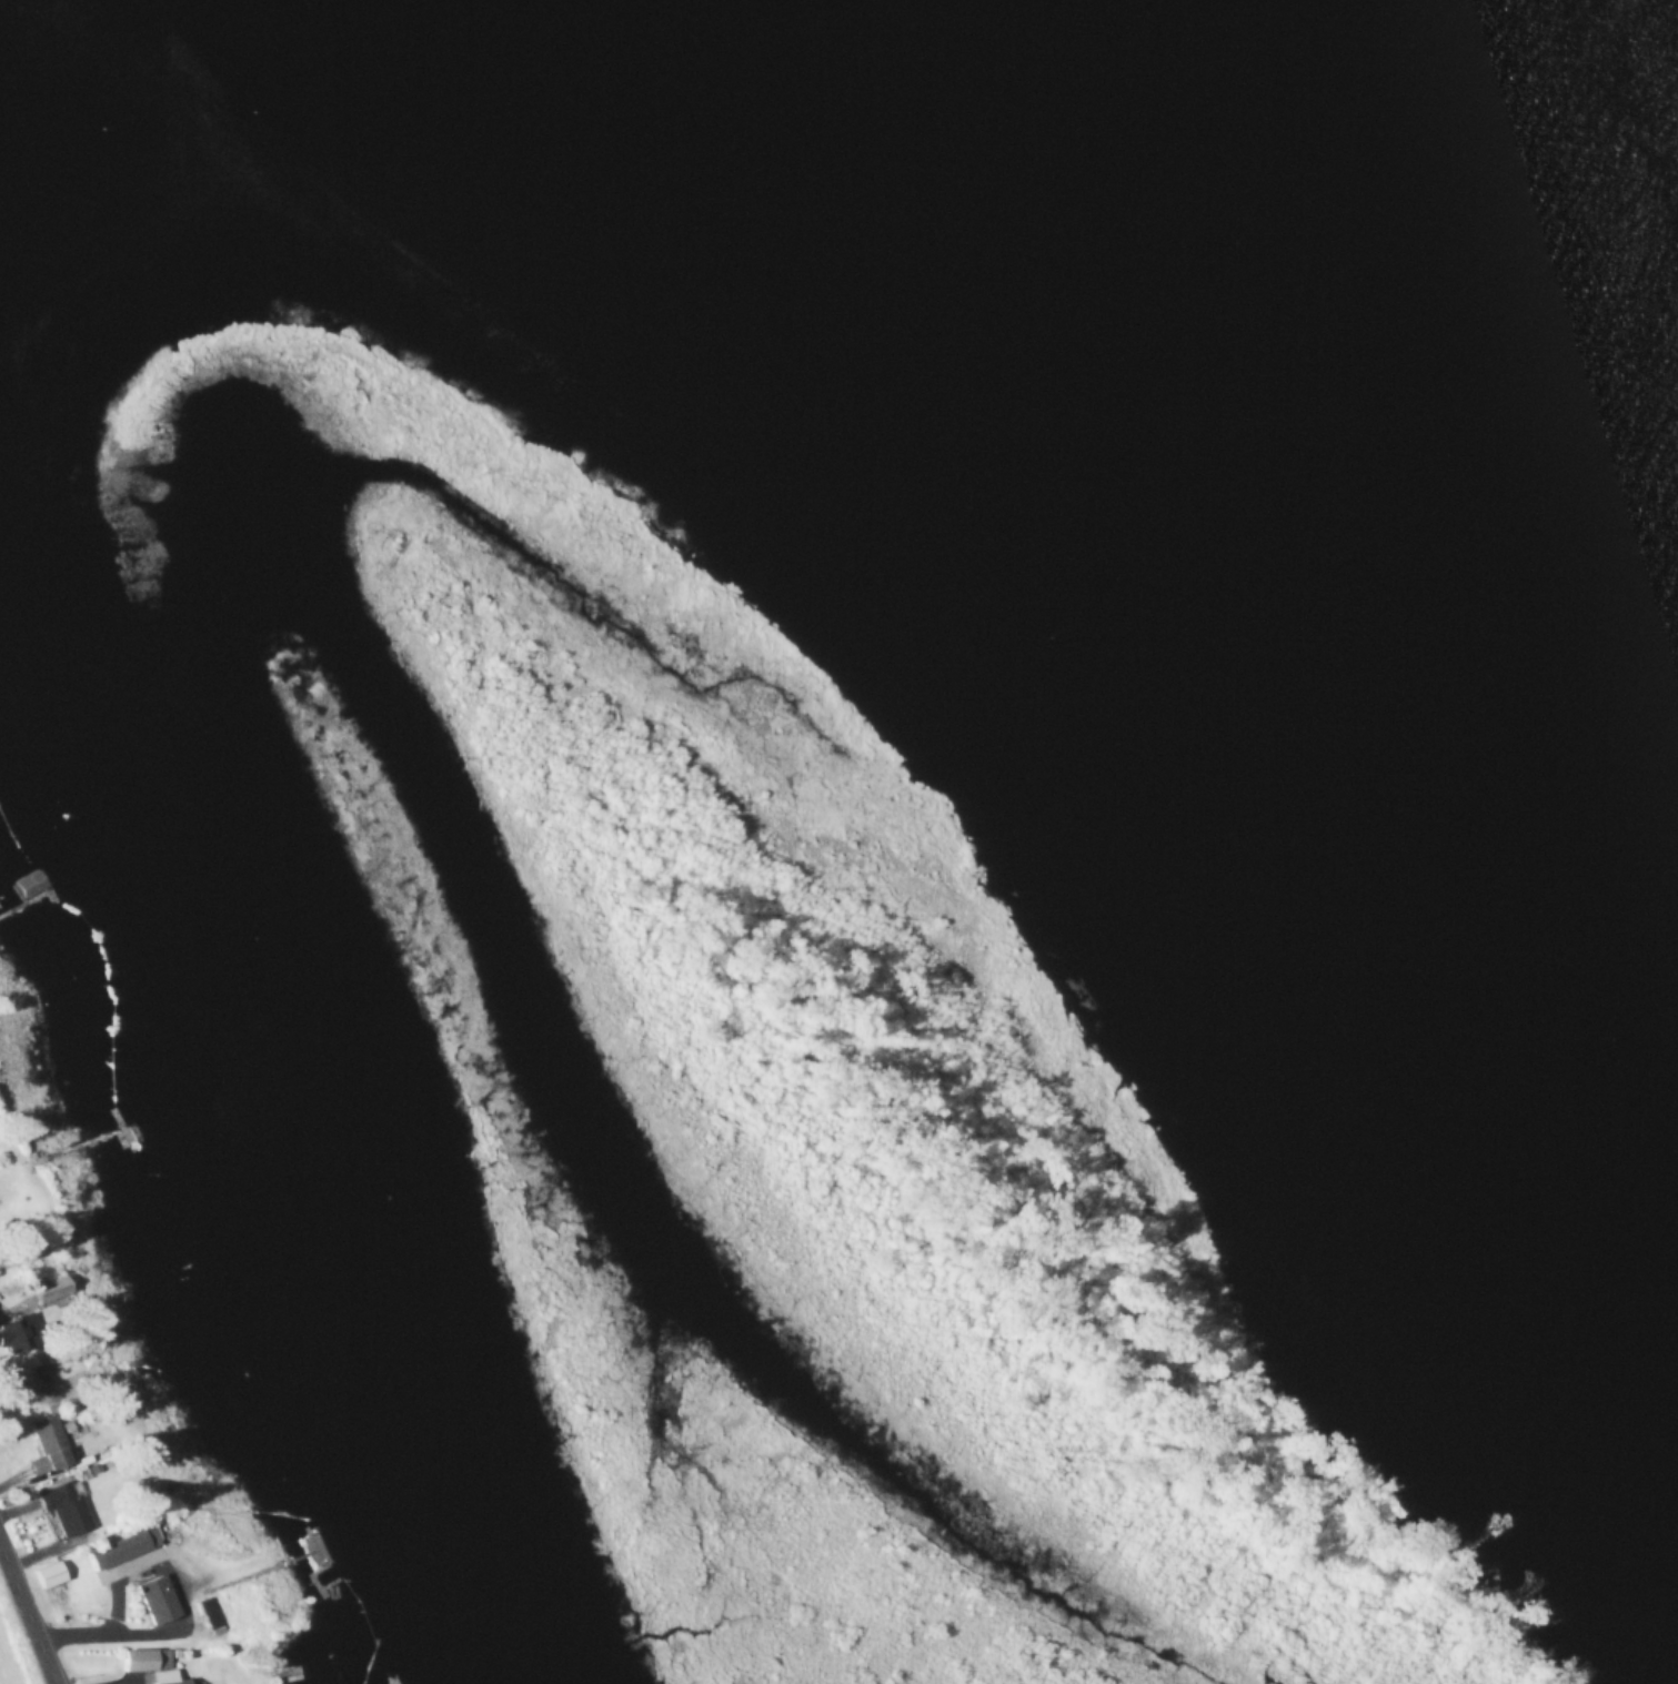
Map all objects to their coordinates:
river: (2, 16)
river: (1518, 178)
building: (29, 884)
river: (230, 1112)
building: (16, 1196)
building: (47, 1287)
building: (12, 1335)
building: (49, 1443)
building: (63, 1509)
building: (121, 1549)
building: (47, 1575)
building: (154, 1601)
road: (24, 1619)
crop: (17, 1641)
building: (149, 1664)

